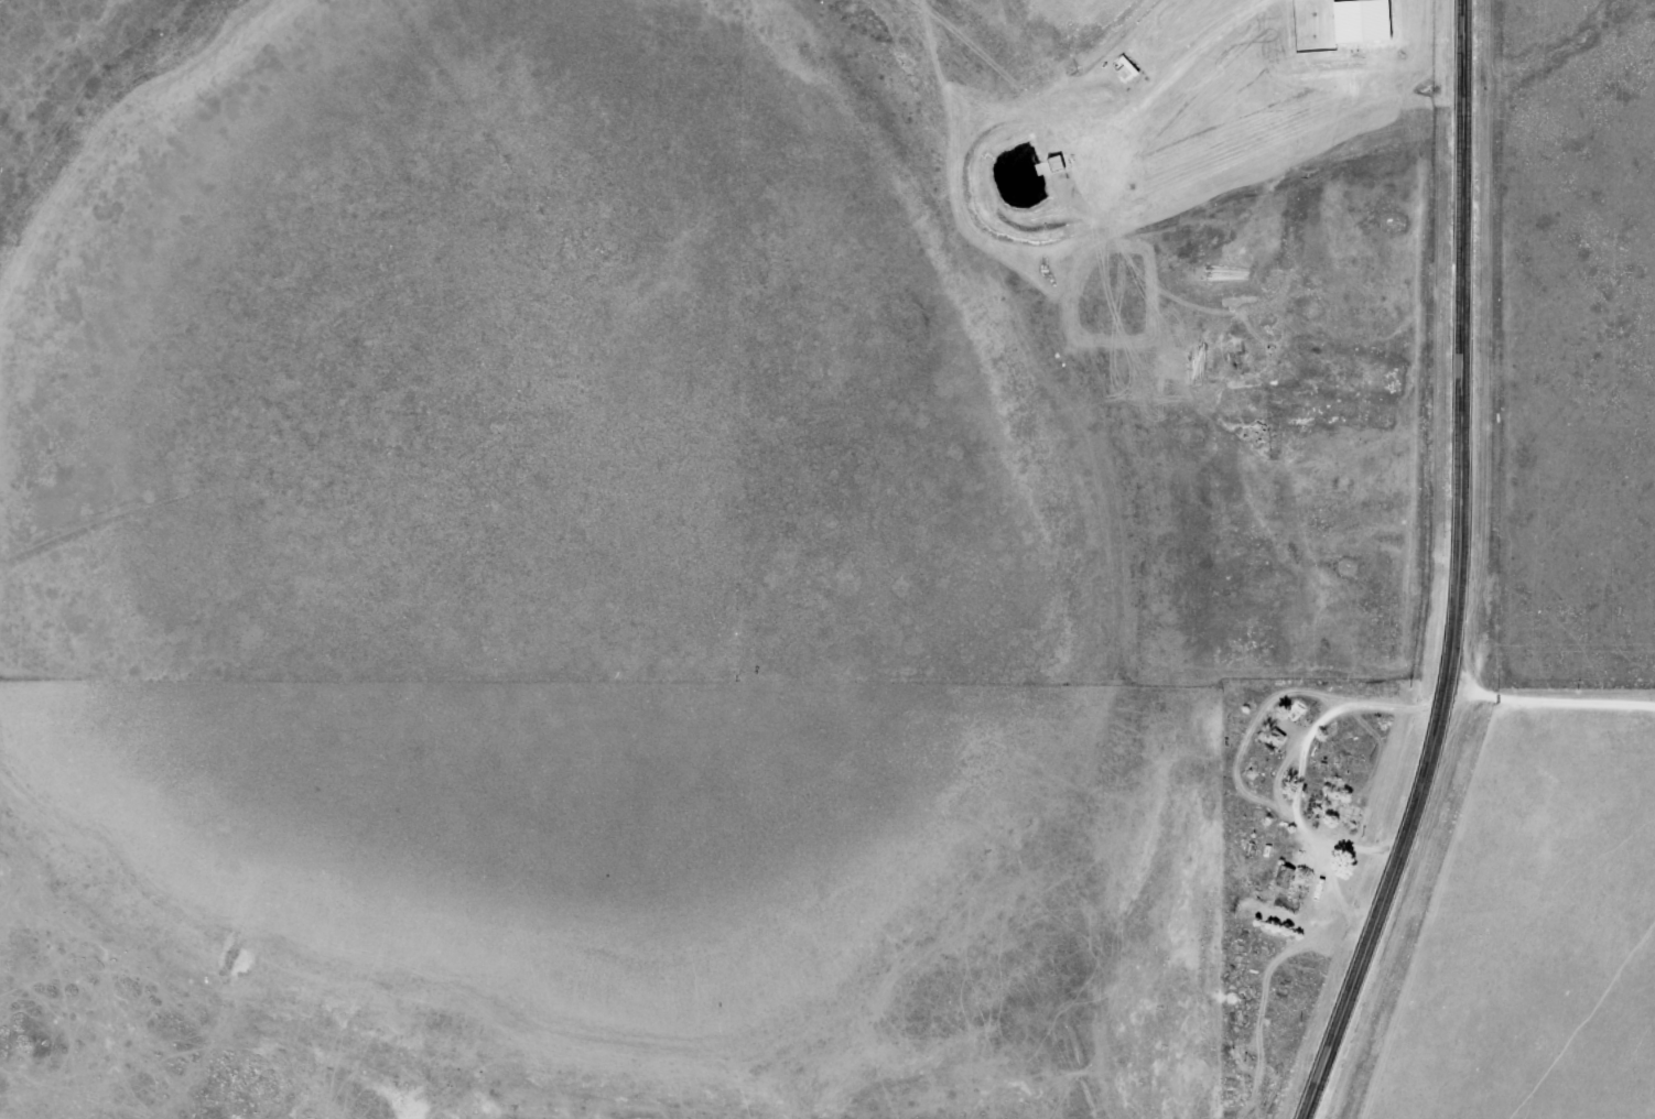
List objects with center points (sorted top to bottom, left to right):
road: (1463, 571)

